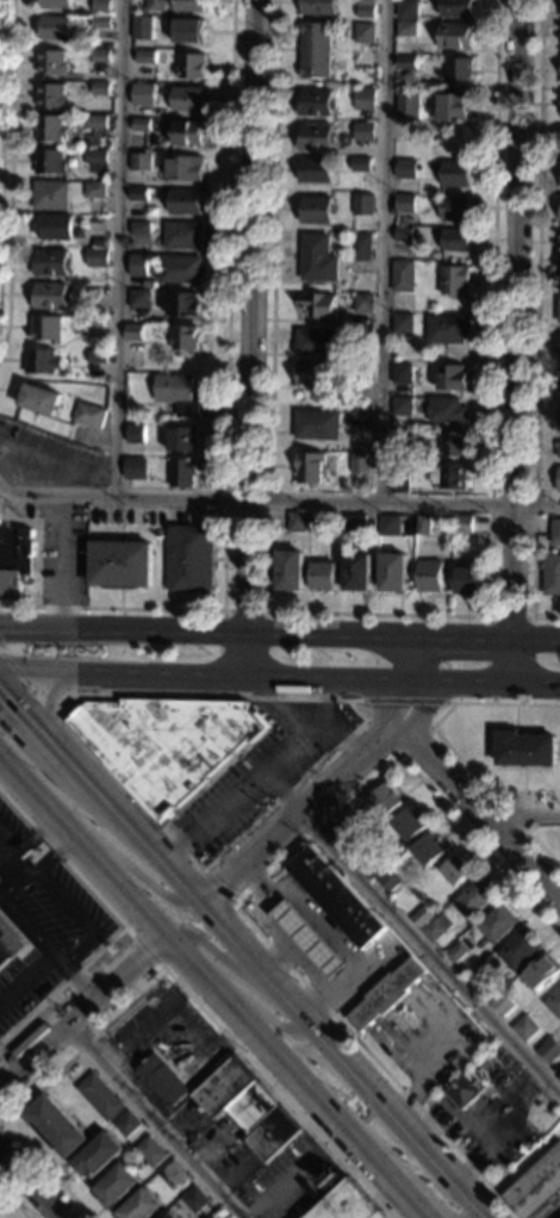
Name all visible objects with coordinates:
building: (55, 4)
building: (101, 5)
building: (176, 5)
building: (318, 7)
building: (366, 8)
building: (458, 8)
building: (407, 10)
building: (101, 21)
building: (144, 21)
building: (55, 27)
building: (407, 29)
building: (189, 30)
building: (365, 33)
building: (456, 36)
building: (316, 50)
building: (100, 56)
building: (145, 56)
building: (52, 62)
building: (406, 62)
building: (191, 67)
building: (461, 70)
building: (100, 88)
building: (143, 94)
building: (51, 95)
building: (188, 99)
building: (365, 99)
building: (316, 102)
building: (409, 105)
building: (454, 107)
building: (97, 125)
building: (142, 125)
building: (50, 129)
building: (363, 131)
building: (188, 133)
building: (316, 137)
building: (97, 161)
building: (50, 162)
building: (141, 162)
building: (361, 164)
building: (185, 167)
building: (406, 169)
building: (318, 170)
building: (458, 174)
road: (11, 178)
building: (95, 189)
building: (139, 194)
building: (51, 195)
building: (187, 201)
building: (406, 204)
building: (363, 205)
building: (458, 207)
building: (318, 210)
building: (413, 219)
building: (54, 226)
building: (141, 229)
building: (183, 235)
building: (404, 235)
building: (456, 240)
building: (102, 244)
building: (361, 247)
building: (405, 247)
road: (122, 248)
road: (386, 251)
building: (98, 257)
building: (318, 257)
building: (51, 262)
building: (138, 266)
building: (181, 269)
building: (403, 275)
building: (559, 276)
building: (455, 280)
building: (559, 284)
building: (51, 296)
building: (139, 299)
building: (363, 303)
building: (185, 304)
building: (318, 305)
building: (559, 310)
road: (517, 321)
road: (537, 321)
building: (403, 324)
building: (94, 327)
building: (46, 329)
building: (448, 329)
building: (135, 331)
building: (361, 336)
building: (186, 337)
road: (250, 341)
building: (318, 342)
building: (98, 356)
building: (43, 361)
building: (361, 372)
building: (312, 374)
building: (405, 374)
building: (453, 378)
building: (558, 383)
building: (559, 389)
building: (180, 393)
building: (42, 399)
building: (403, 405)
building: (447, 410)
building: (91, 415)
building: (360, 415)
road: (226, 417)
building: (559, 421)
building: (318, 424)
building: (137, 434)
building: (185, 440)
building: (403, 440)
building: (455, 443)
building: (559, 450)
road: (61, 462)
building: (360, 462)
building: (312, 467)
building: (136, 468)
building: (185, 472)
building: (449, 476)
building: (399, 478)
building: (559, 480)
road: (279, 501)
building: (298, 522)
building: (319, 522)
building: (390, 524)
building: (463, 524)
building: (423, 526)
building: (356, 527)
building: (555, 532)
building: (160, 533)
building: (14, 559)
building: (191, 559)
road: (63, 560)
building: (123, 564)
building: (292, 570)
building: (359, 572)
building: (394, 572)
building: (552, 574)
building: (323, 576)
building: (431, 576)
building: (467, 580)
road: (247, 610)
road: (381, 614)
road: (205, 629)
road: (490, 636)
road: (461, 640)
road: (536, 641)
road: (515, 665)
road: (279, 683)
road: (29, 684)
road: (46, 696)
road: (325, 701)
road: (409, 702)
road: (276, 710)
road: (42, 714)
road: (31, 723)
road: (343, 739)
building: (168, 745)
road: (449, 746)
building: (527, 750)
road: (398, 757)
road: (102, 765)
road: (89, 784)
road: (336, 787)
road: (242, 788)
road: (282, 793)
building: (386, 800)
road: (480, 816)
road: (525, 818)
building: (409, 825)
road: (37, 838)
building: (351, 838)
road: (82, 845)
building: (430, 850)
road: (12, 852)
building: (366, 855)
road: (57, 859)
building: (455, 871)
road: (175, 874)
building: (375, 874)
road: (12, 876)
building: (391, 881)
road: (150, 885)
road: (219, 887)
road: (248, 894)
building: (336, 897)
building: (473, 899)
road: (60, 900)
building: (423, 918)
road: (117, 921)
building: (496, 924)
road: (27, 928)
building: (435, 931)
building: (309, 940)
building: (10, 943)
road: (143, 949)
building: (518, 950)
road: (79, 951)
road: (217, 953)
building: (456, 953)
road: (430, 957)
road: (193, 964)
building: (540, 972)
road: (157, 977)
building: (480, 977)
road: (73, 978)
road: (27, 982)
building: (386, 994)
building: (502, 1005)
building: (554, 1005)
road: (82, 1006)
road: (267, 1018)
building: (524, 1030)
building: (548, 1051)
road: (297, 1076)
building: (559, 1076)
road: (362, 1077)
building: (162, 1080)
building: (559, 1080)
building: (467, 1090)
building: (100, 1098)
building: (247, 1107)
road: (155, 1119)
road: (0, 1120)
building: (126, 1125)
building: (56, 1127)
building: (197, 1146)
building: (150, 1152)
building: (98, 1156)
building: (173, 1175)
road: (27, 1185)
building: (116, 1186)
road: (398, 1187)
building: (537, 1187)
road: (14, 1200)
building: (193, 1200)
building: (348, 1205)
building: (141, 1206)
building: (167, 1216)
road: (54, 1217)
building: (228, 1217)

